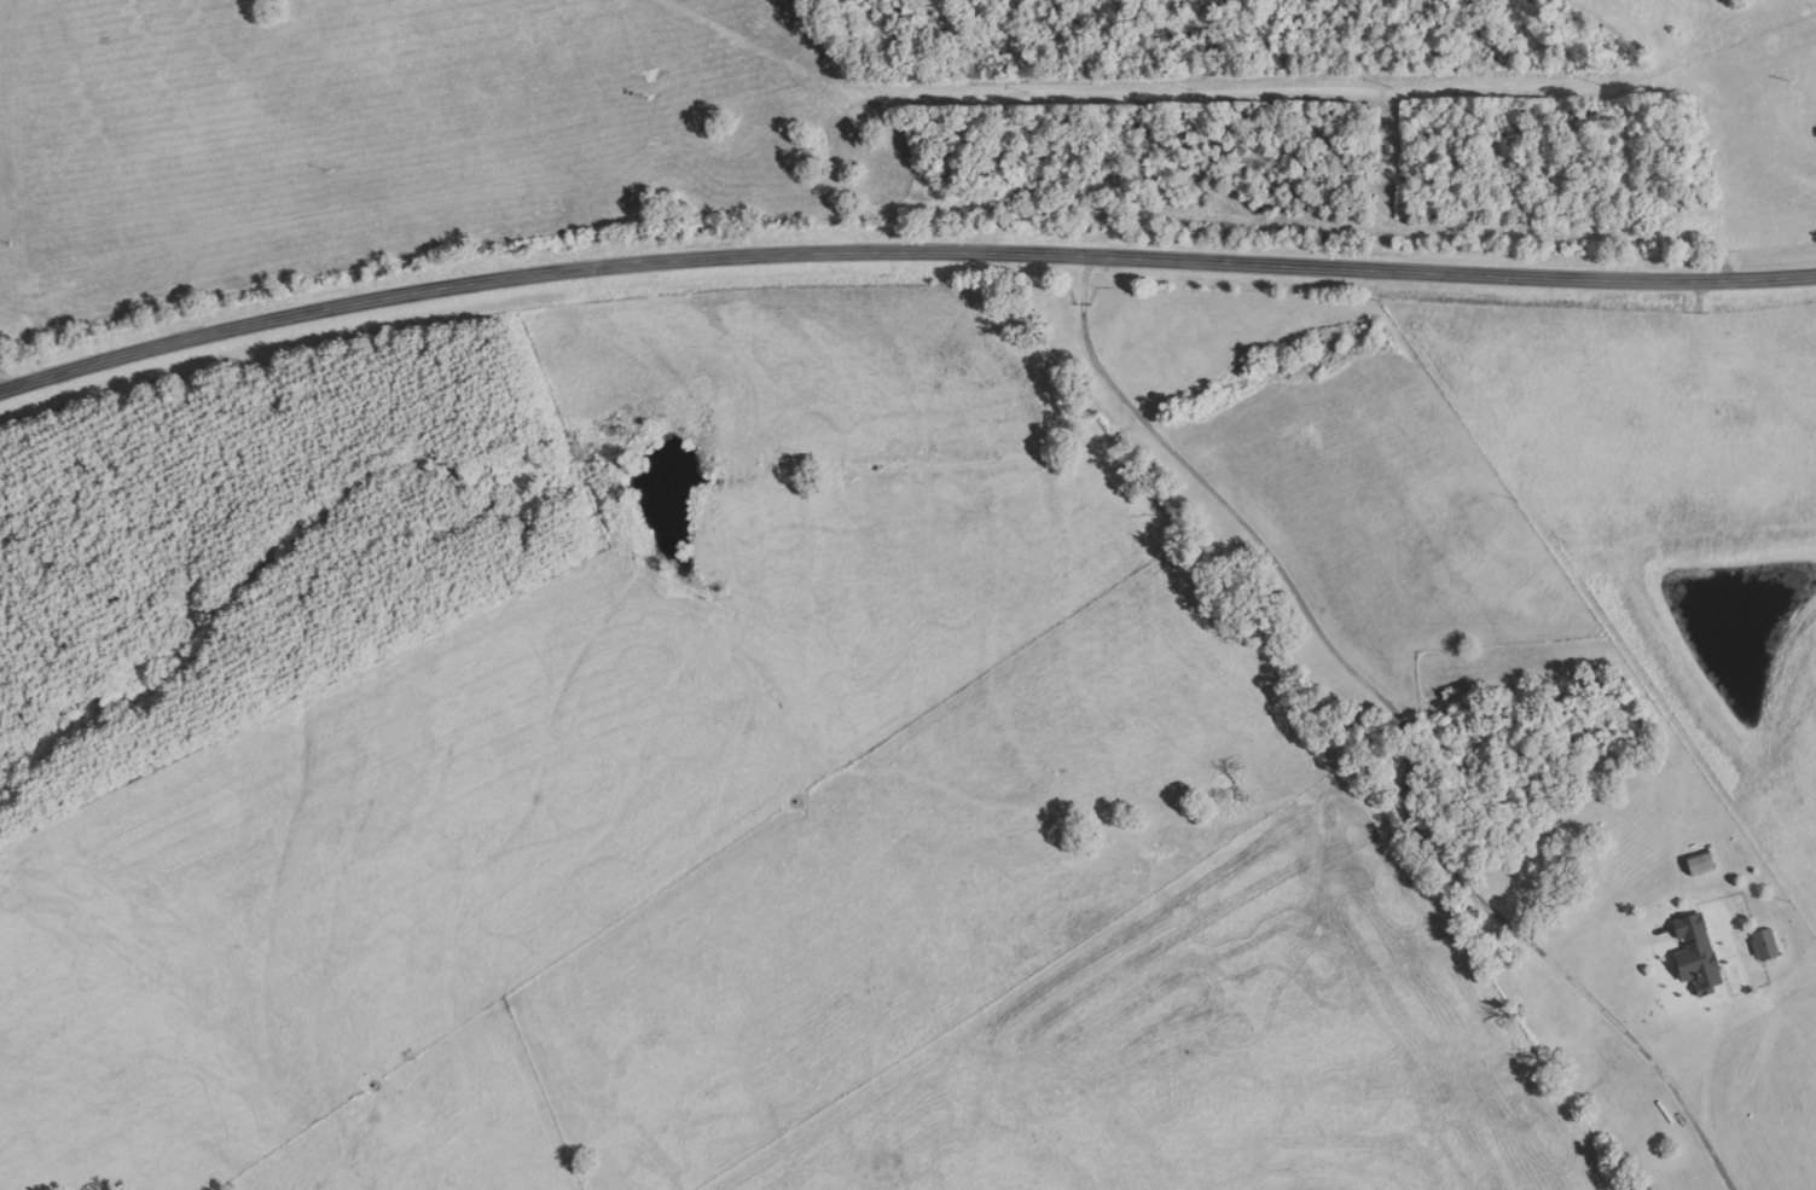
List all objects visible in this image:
road: (900, 244)
building: (1704, 863)
building: (1766, 944)
building: (1700, 953)

